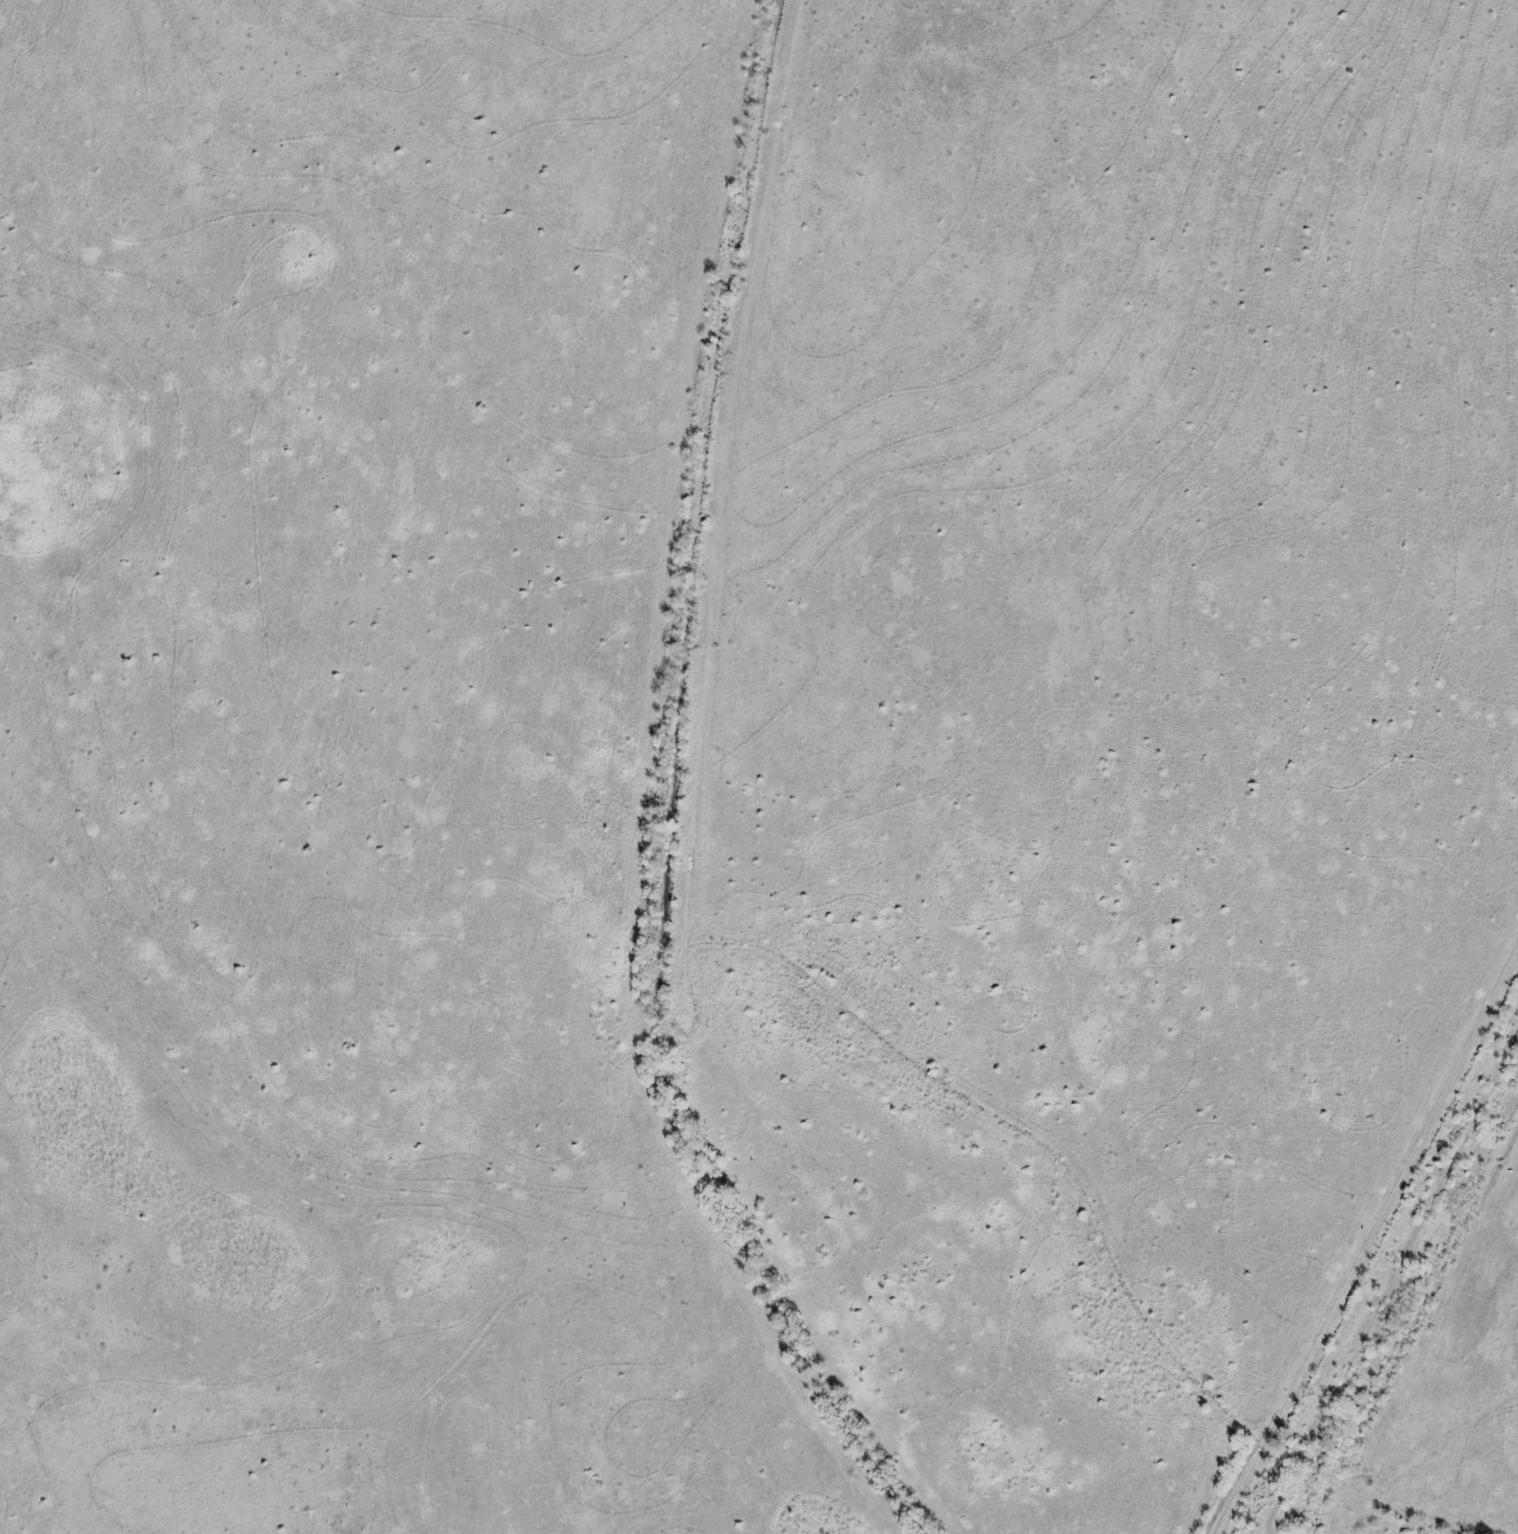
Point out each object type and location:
railway: (1391, 1287)

